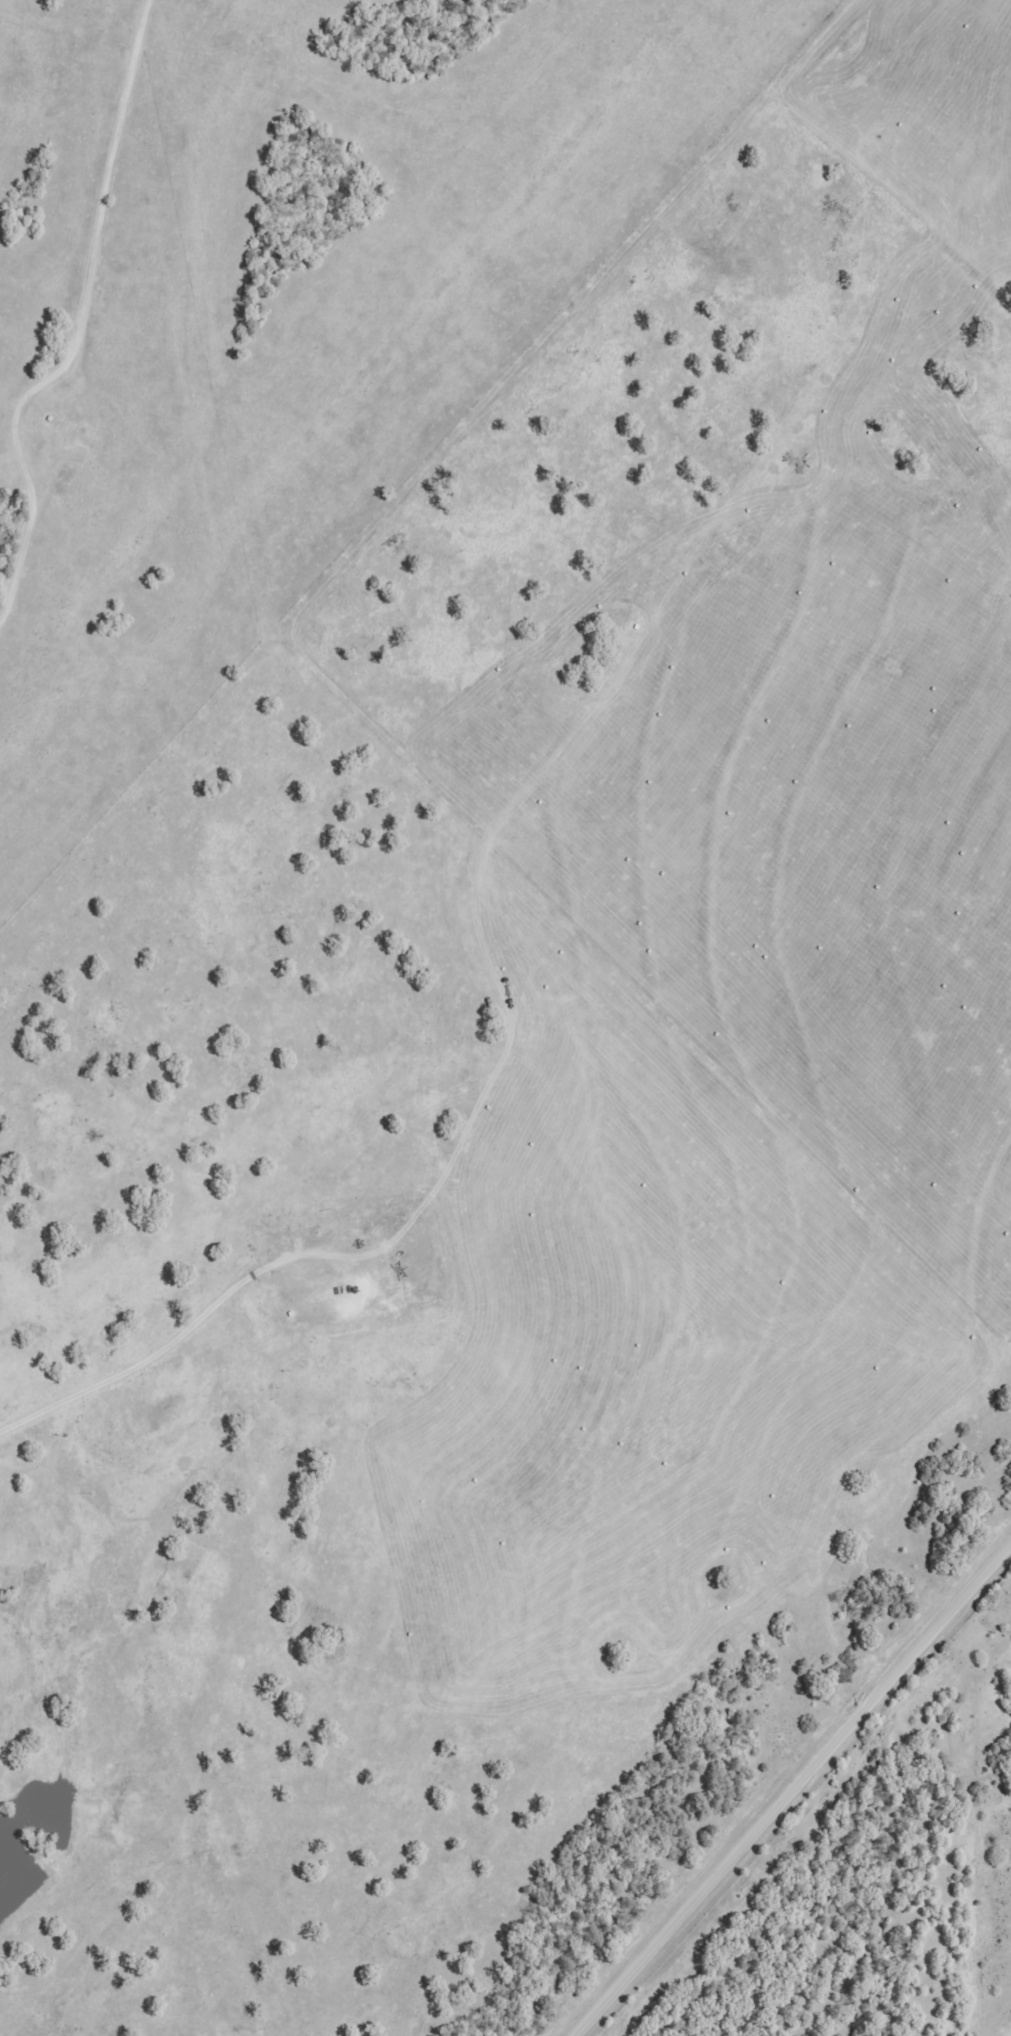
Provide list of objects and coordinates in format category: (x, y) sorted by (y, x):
road: (791, 1785)

